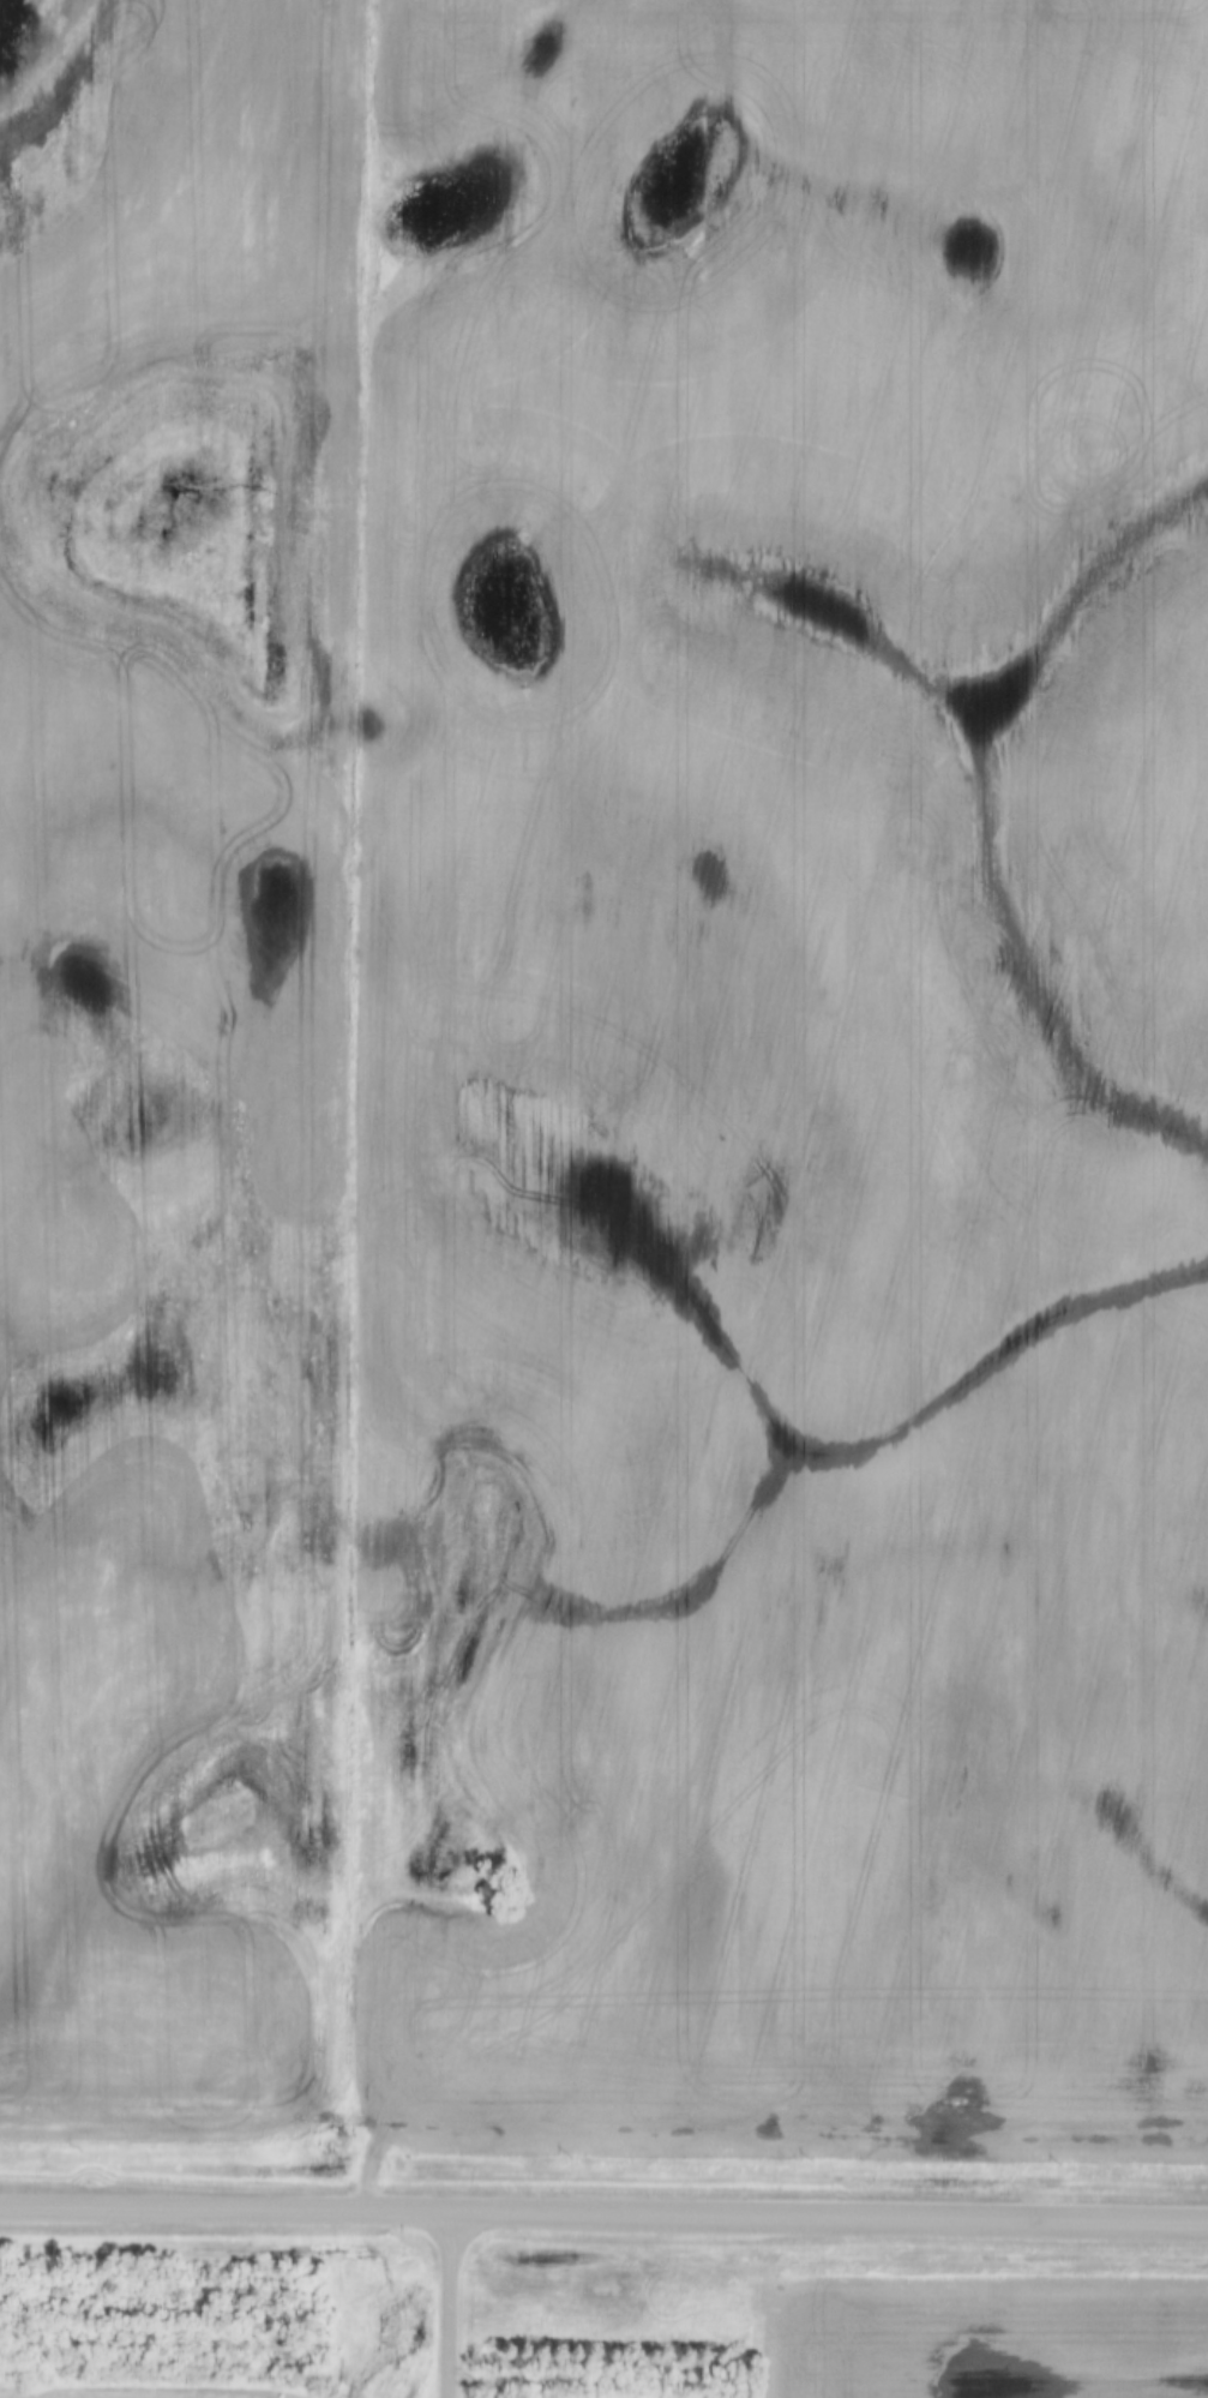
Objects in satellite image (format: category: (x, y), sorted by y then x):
road: (603, 2214)
road: (445, 2304)

